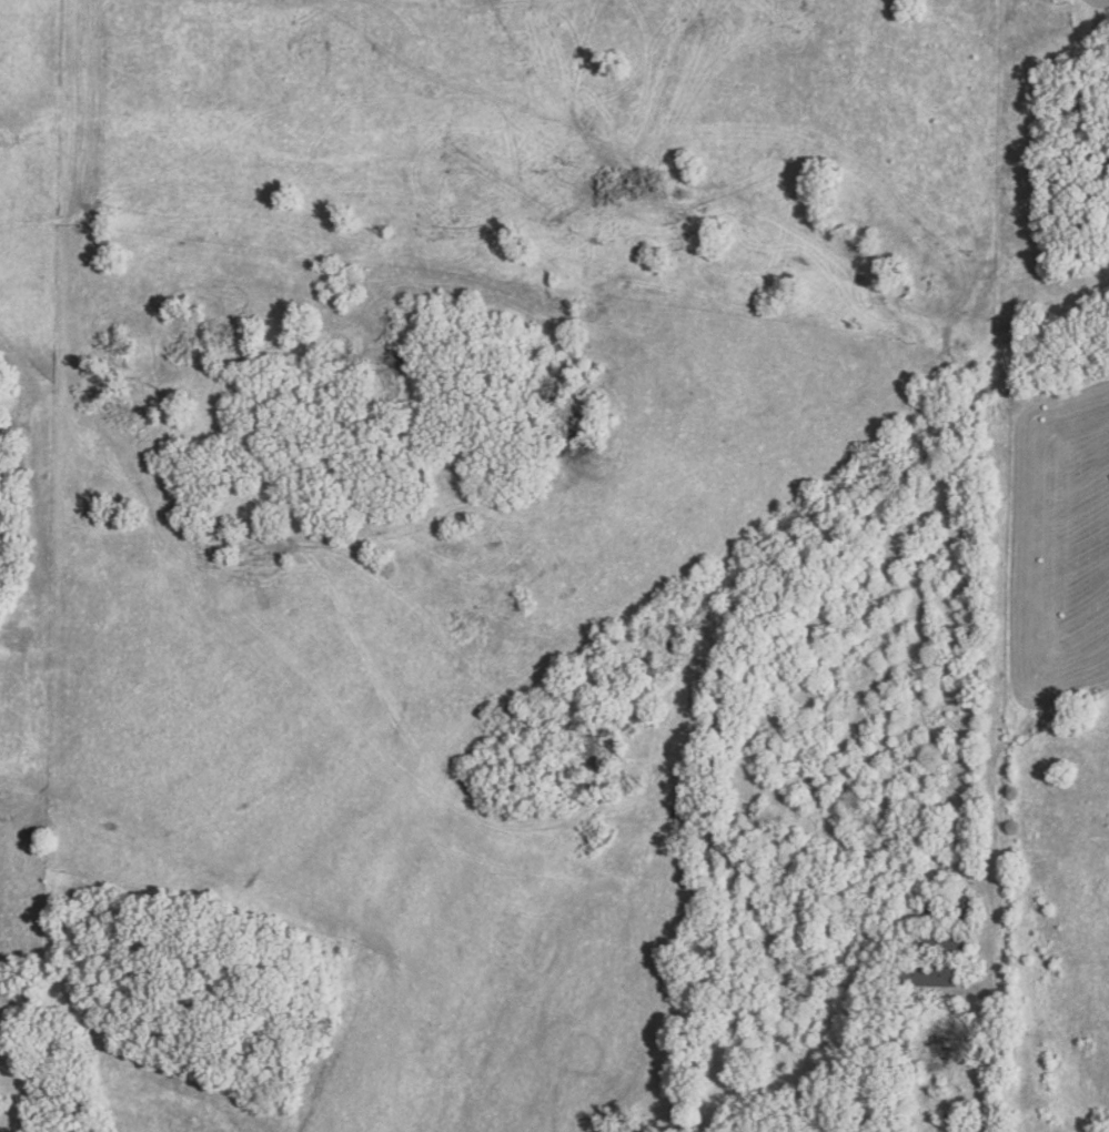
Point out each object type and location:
building: (964, 911)
building: (942, 941)
building: (928, 974)

